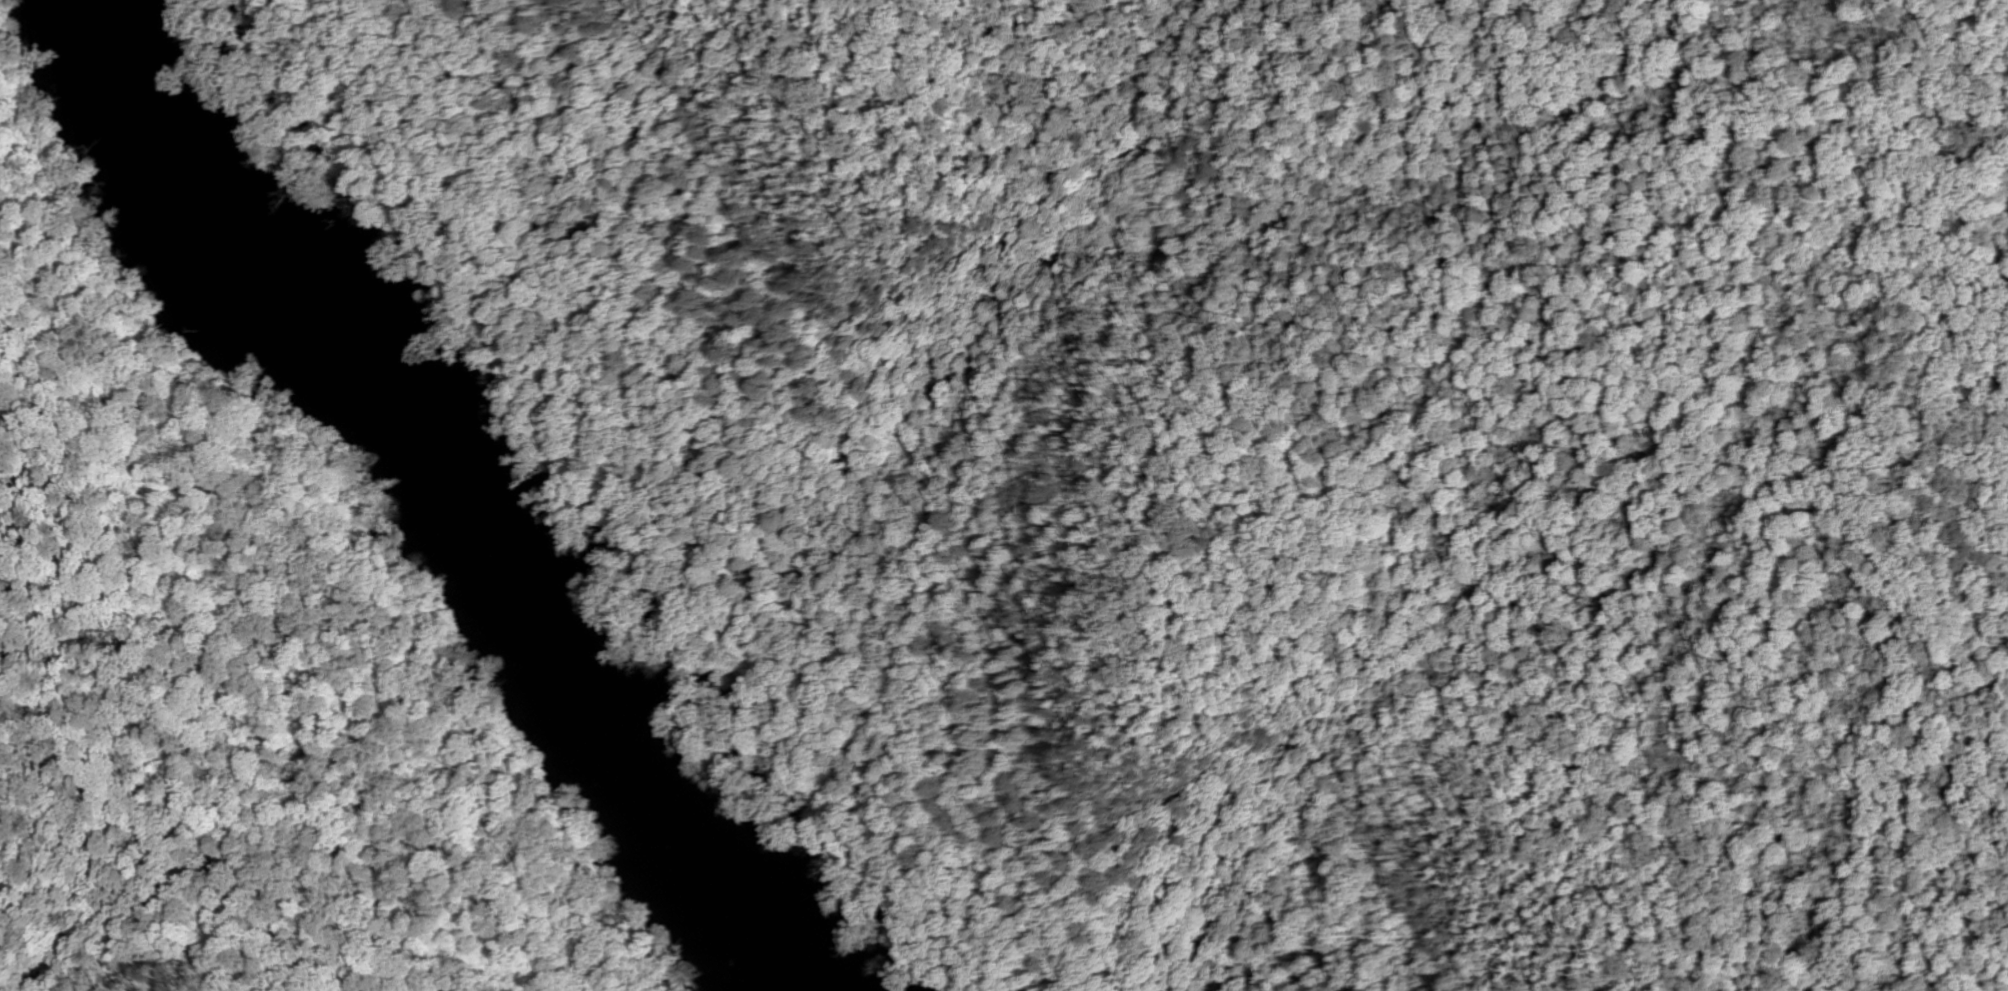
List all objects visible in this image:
river: (472, 499)

